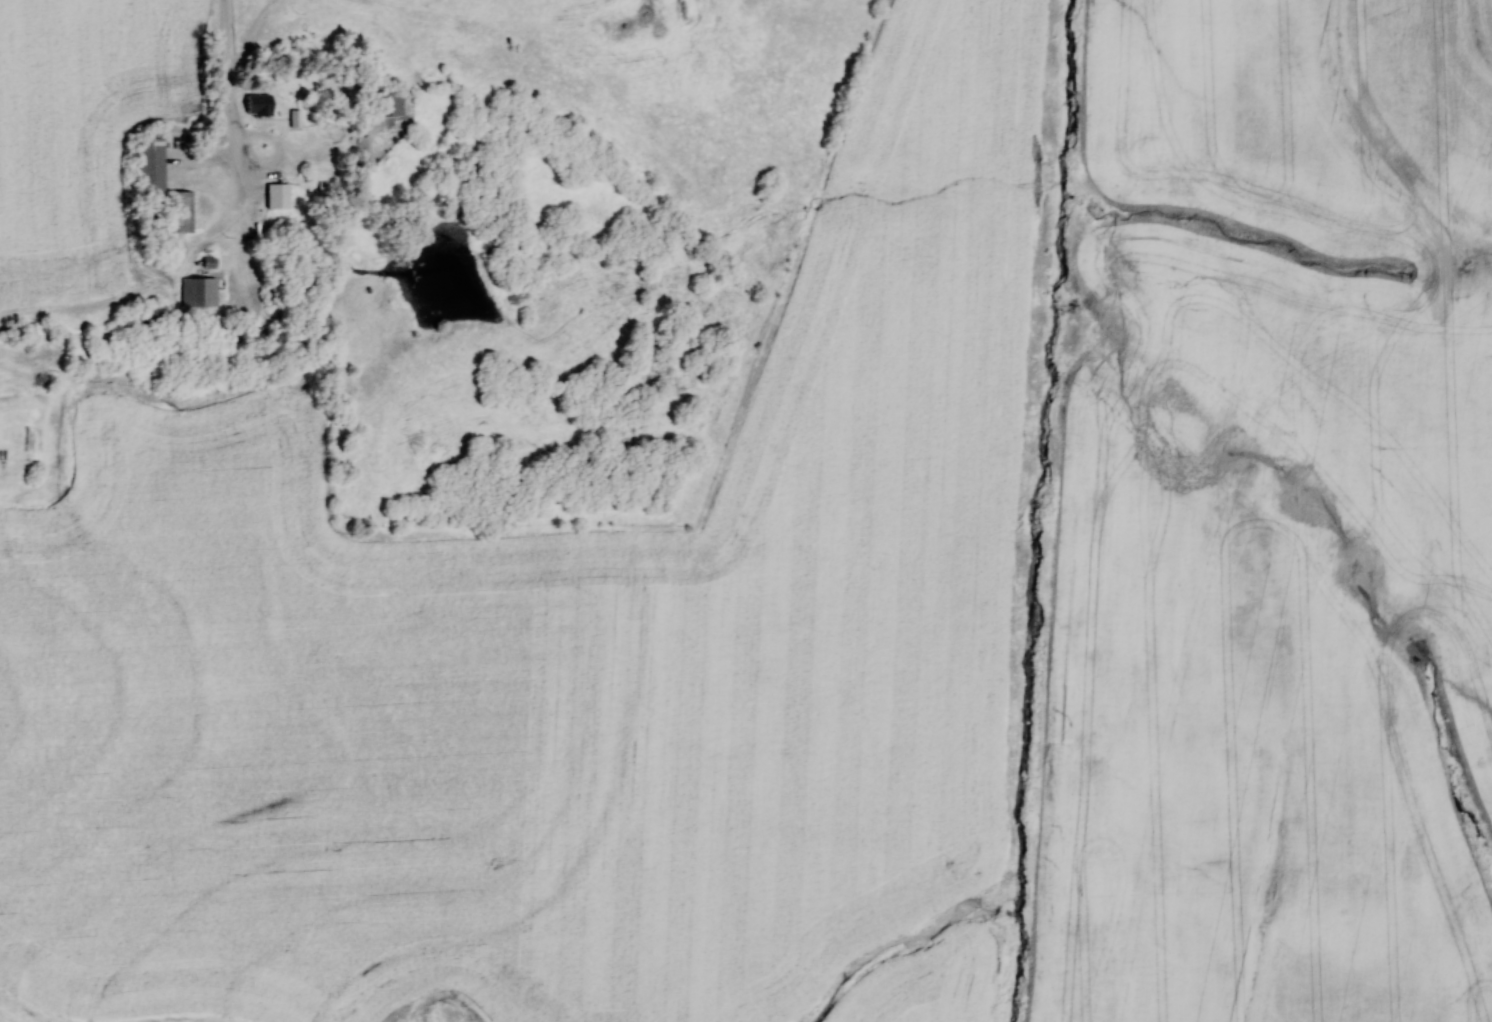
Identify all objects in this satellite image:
building: (388, 102)
building: (257, 105)
building: (148, 165)
building: (277, 196)
building: (180, 211)
building: (197, 291)
building: (147, 315)
building: (248, 335)

